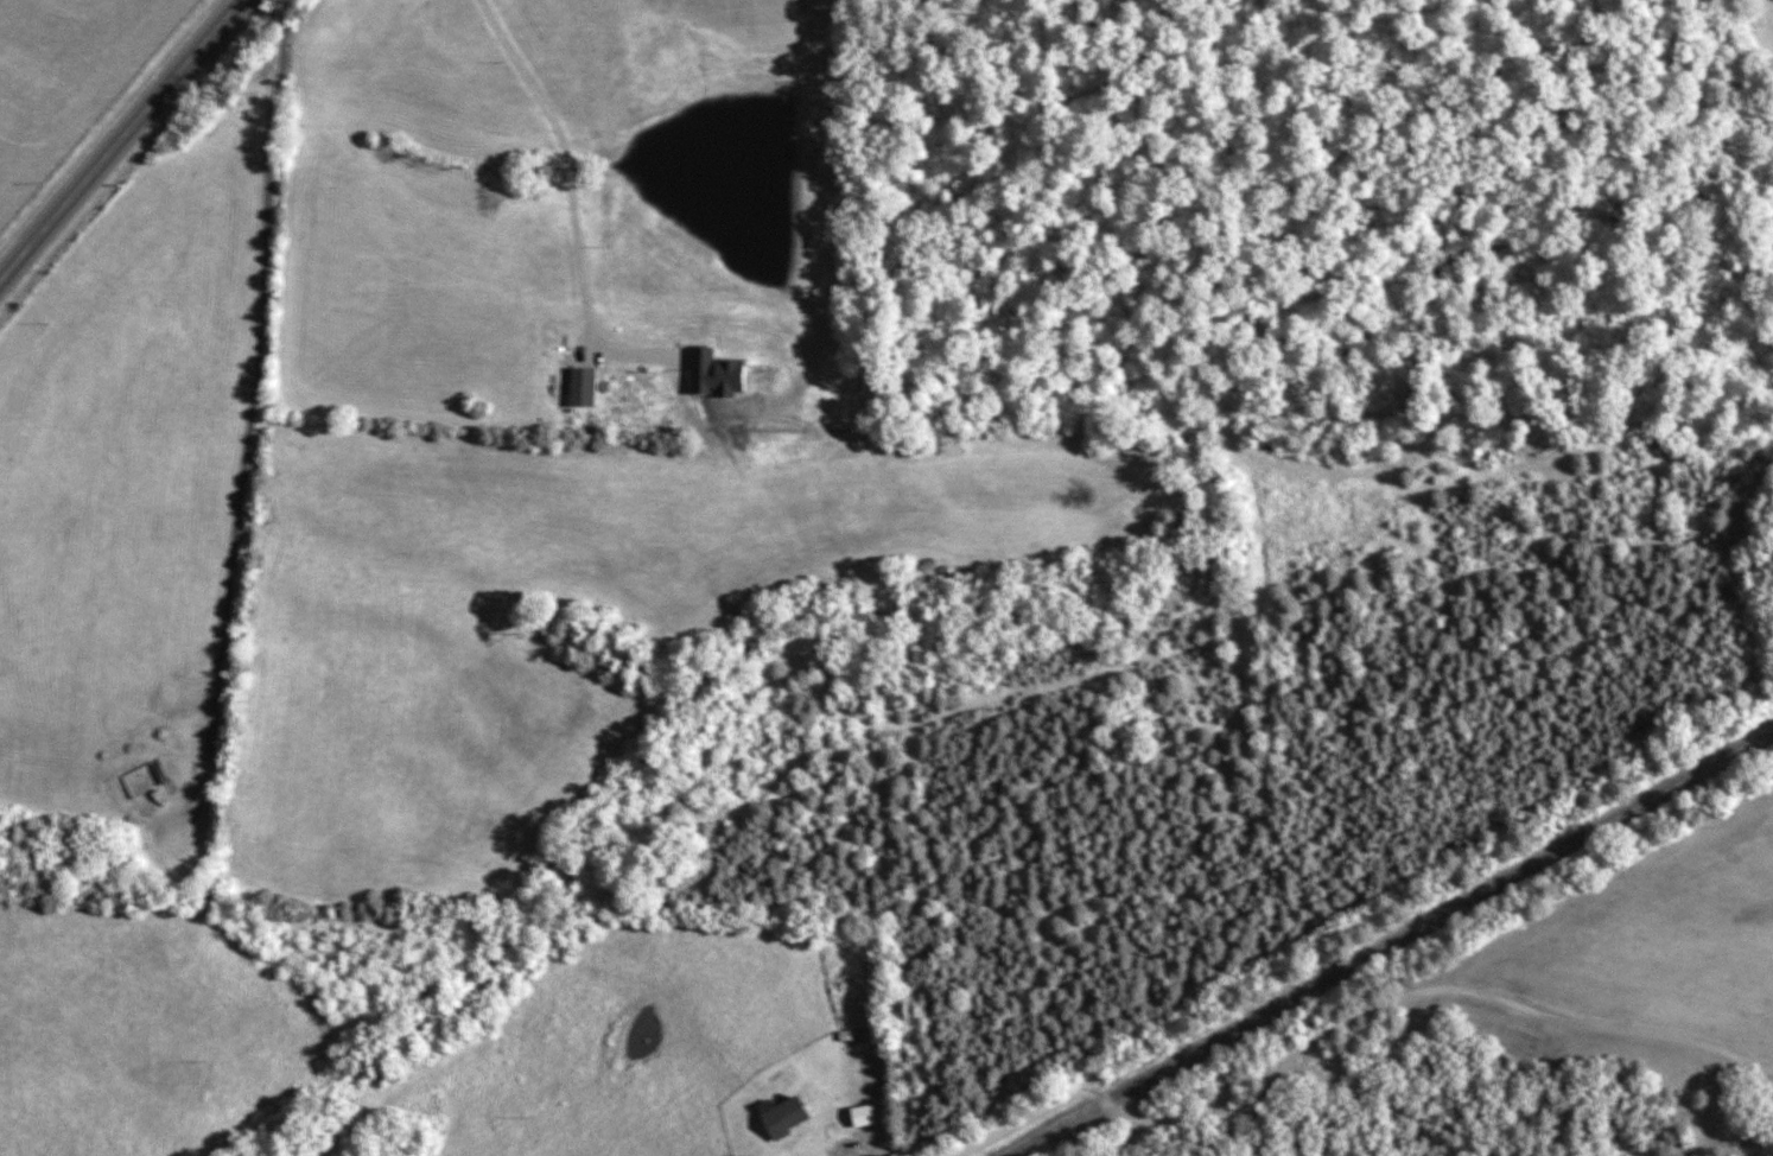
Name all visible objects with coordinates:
road: (120, 140)
railway: (1378, 940)

